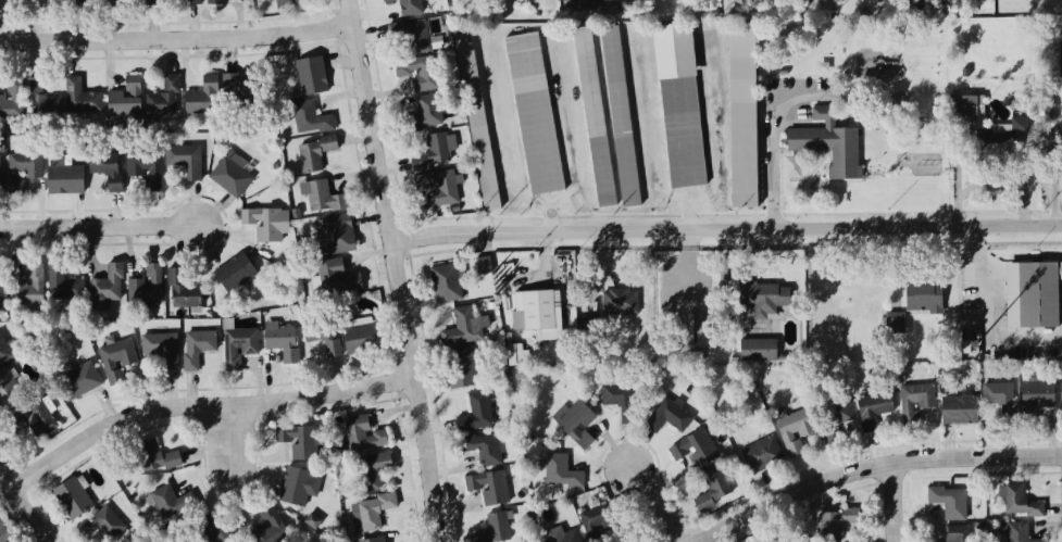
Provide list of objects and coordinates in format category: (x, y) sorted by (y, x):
building: (619, 0)
building: (895, 0)
building: (150, 2)
building: (14, 3)
building: (64, 3)
building: (193, 3)
building: (214, 3)
building: (0, 4)
building: (579, 4)
building: (285, 5)
building: (408, 7)
building: (411, 37)
road: (176, 38)
building: (417, 74)
building: (311, 77)
building: (250, 90)
building: (164, 99)
building: (203, 99)
building: (80, 100)
building: (125, 100)
building: (11, 101)
building: (40, 101)
building: (966, 108)
building: (425, 115)
building: (534, 115)
building: (620, 117)
building: (594, 118)
building: (310, 119)
building: (475, 119)
road: (648, 125)
building: (1019, 126)
road: (574, 129)
road: (716, 129)
road: (505, 133)
building: (682, 134)
road: (773, 135)
building: (742, 139)
building: (829, 144)
building: (314, 154)
building: (432, 154)
building: (0, 157)
building: (184, 161)
building: (145, 167)
building: (105, 169)
building: (22, 173)
building: (234, 177)
building: (64, 181)
building: (443, 190)
building: (322, 199)
road: (689, 217)
road: (551, 220)
building: (263, 225)
road: (97, 228)
road: (726, 229)
building: (338, 235)
building: (485, 267)
road: (397, 269)
building: (234, 273)
building: (336, 278)
building: (447, 283)
building: (63, 286)
building: (146, 286)
building: (27, 287)
building: (104, 289)
building: (180, 291)
building: (1, 294)
building: (1030, 295)
building: (924, 298)
building: (764, 300)
building: (620, 303)
road: (991, 313)
building: (537, 314)
building: (895, 324)
building: (463, 329)
building: (362, 340)
building: (282, 341)
building: (323, 345)
building: (238, 348)
building: (197, 349)
building: (161, 350)
building: (758, 351)
building: (4, 353)
building: (115, 361)
building: (460, 370)
building: (79, 381)
building: (10, 392)
building: (1061, 394)
building: (617, 396)
building: (1037, 396)
building: (1000, 399)
building: (915, 402)
road: (204, 405)
building: (873, 411)
building: (959, 411)
building: (475, 415)
building: (834, 417)
building: (675, 418)
building: (33, 421)
building: (576, 424)
building: (794, 432)
building: (364, 436)
road: (229, 437)
building: (304, 444)
building: (695, 449)
building: (483, 450)
building: (761, 456)
building: (154, 458)
road: (872, 466)
building: (370, 471)
building: (560, 472)
building: (298, 488)
building: (489, 488)
building: (713, 490)
building: (73, 499)
road: (891, 502)
building: (949, 503)
building: (1019, 503)
road: (23, 504)
building: (172, 504)
road: (655, 504)
building: (371, 514)
building: (598, 521)
building: (835, 525)
building: (101, 526)
building: (268, 527)
building: (495, 528)
building: (215, 531)
building: (1016, 532)
building: (957, 533)
building: (2, 534)
building: (566, 538)
building: (125, 541)
building: (377, 541)

